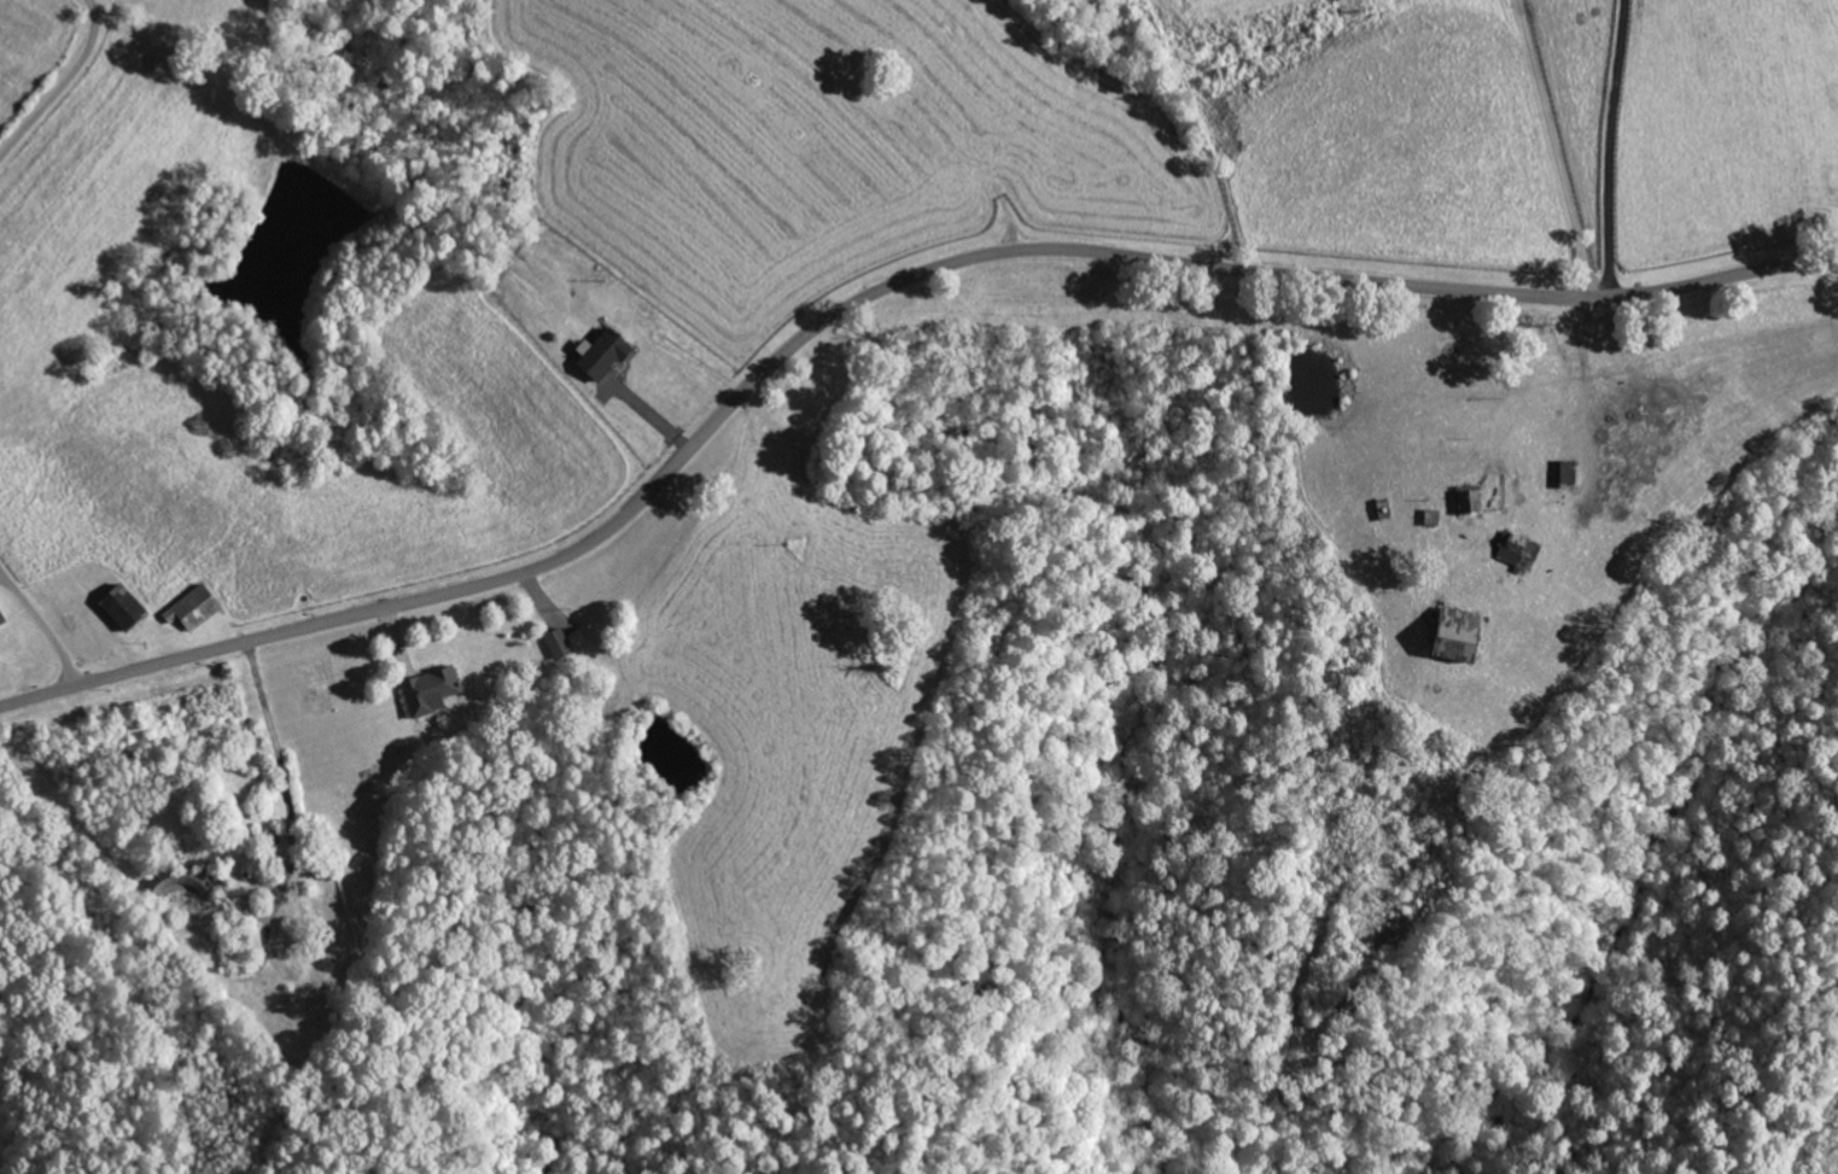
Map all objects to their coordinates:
road: (865, 298)
building: (597, 357)
road: (1574, 426)
building: (1515, 551)
building: (116, 607)
building: (192, 609)
building: (1, 619)
building: (1447, 635)
building: (556, 644)
building: (425, 690)

